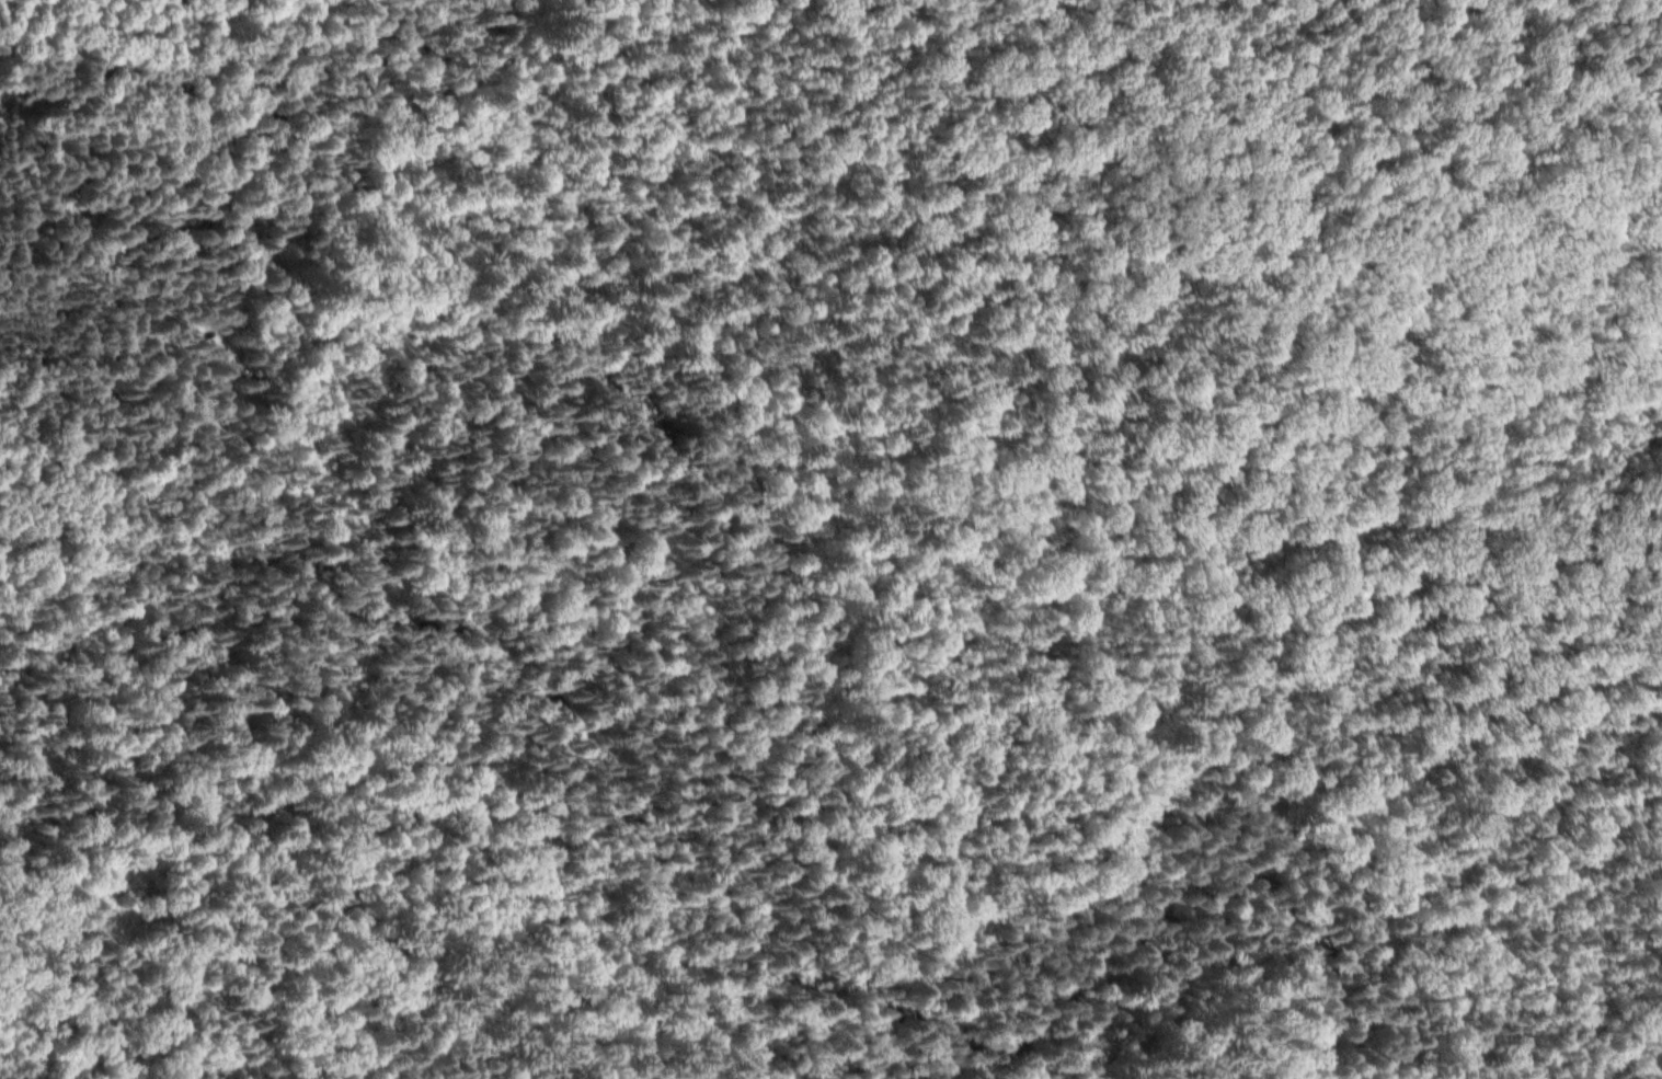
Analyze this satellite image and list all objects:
road: (1512, 457)
road: (381, 840)
road: (1162, 1044)

